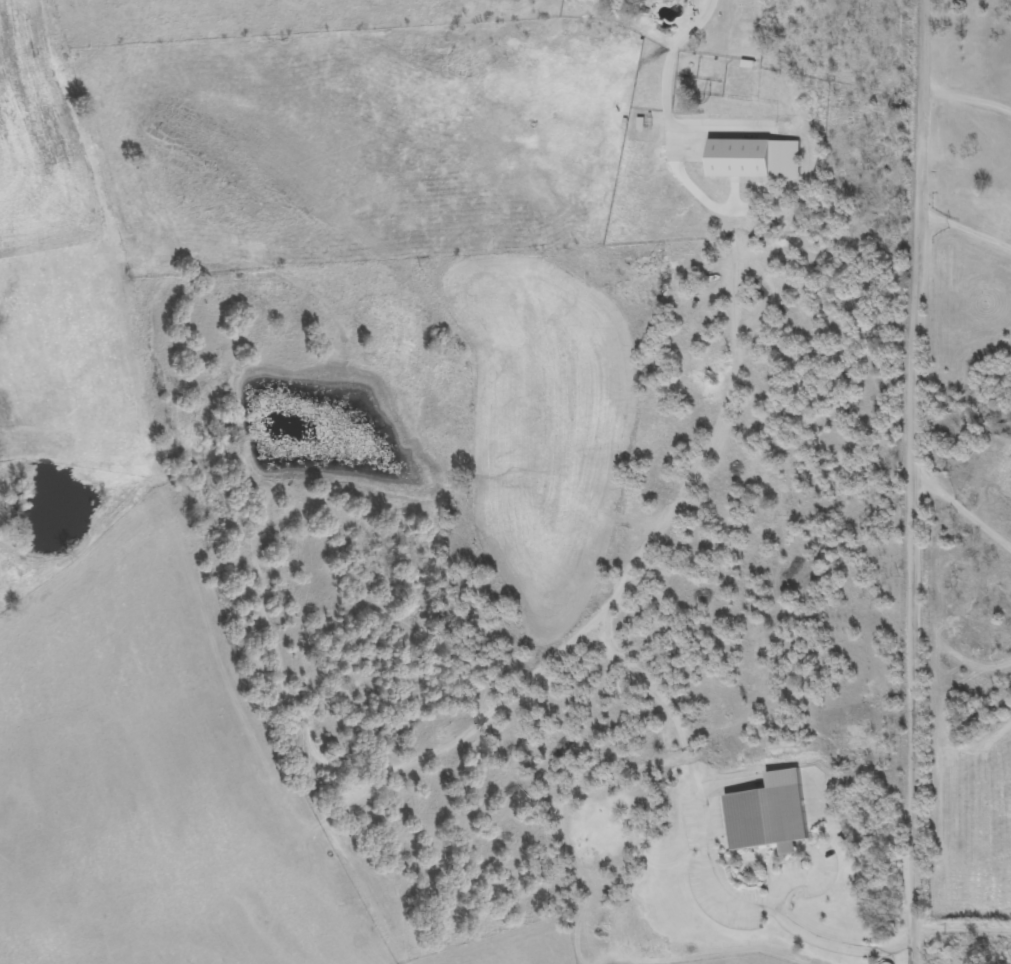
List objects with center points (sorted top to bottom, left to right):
building: (741, 56)
road: (967, 98)
road: (964, 229)
road: (914, 240)
building: (999, 430)
road: (964, 510)
road: (913, 722)
road: (801, 881)
road: (775, 906)

